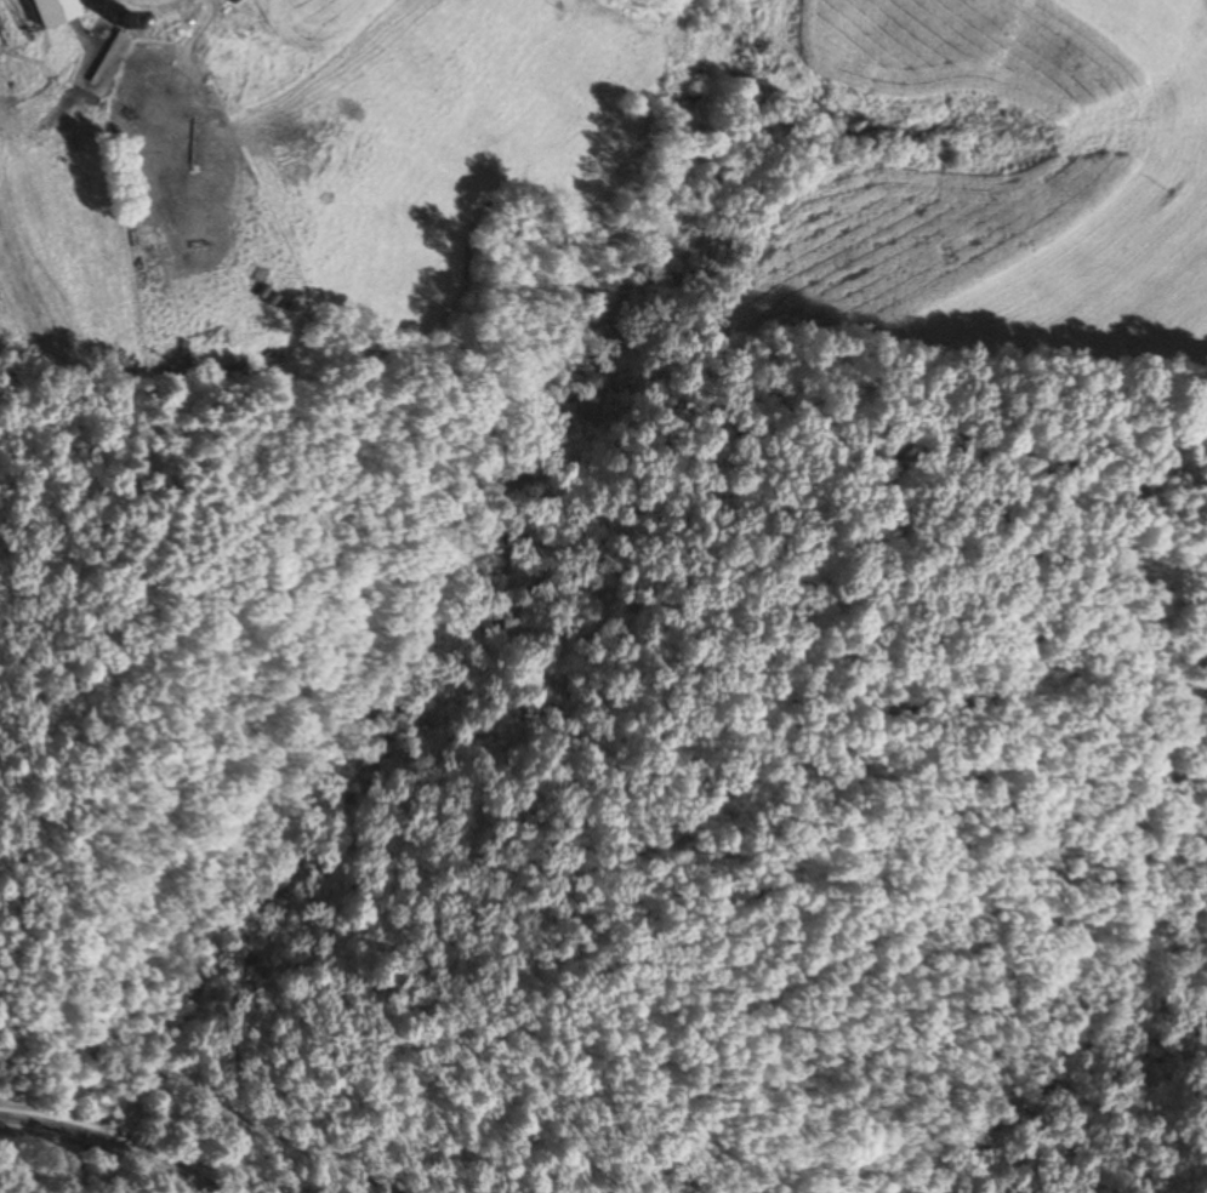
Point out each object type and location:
building: (55, 11)
road: (979, 978)
road: (278, 1080)
road: (118, 1138)

